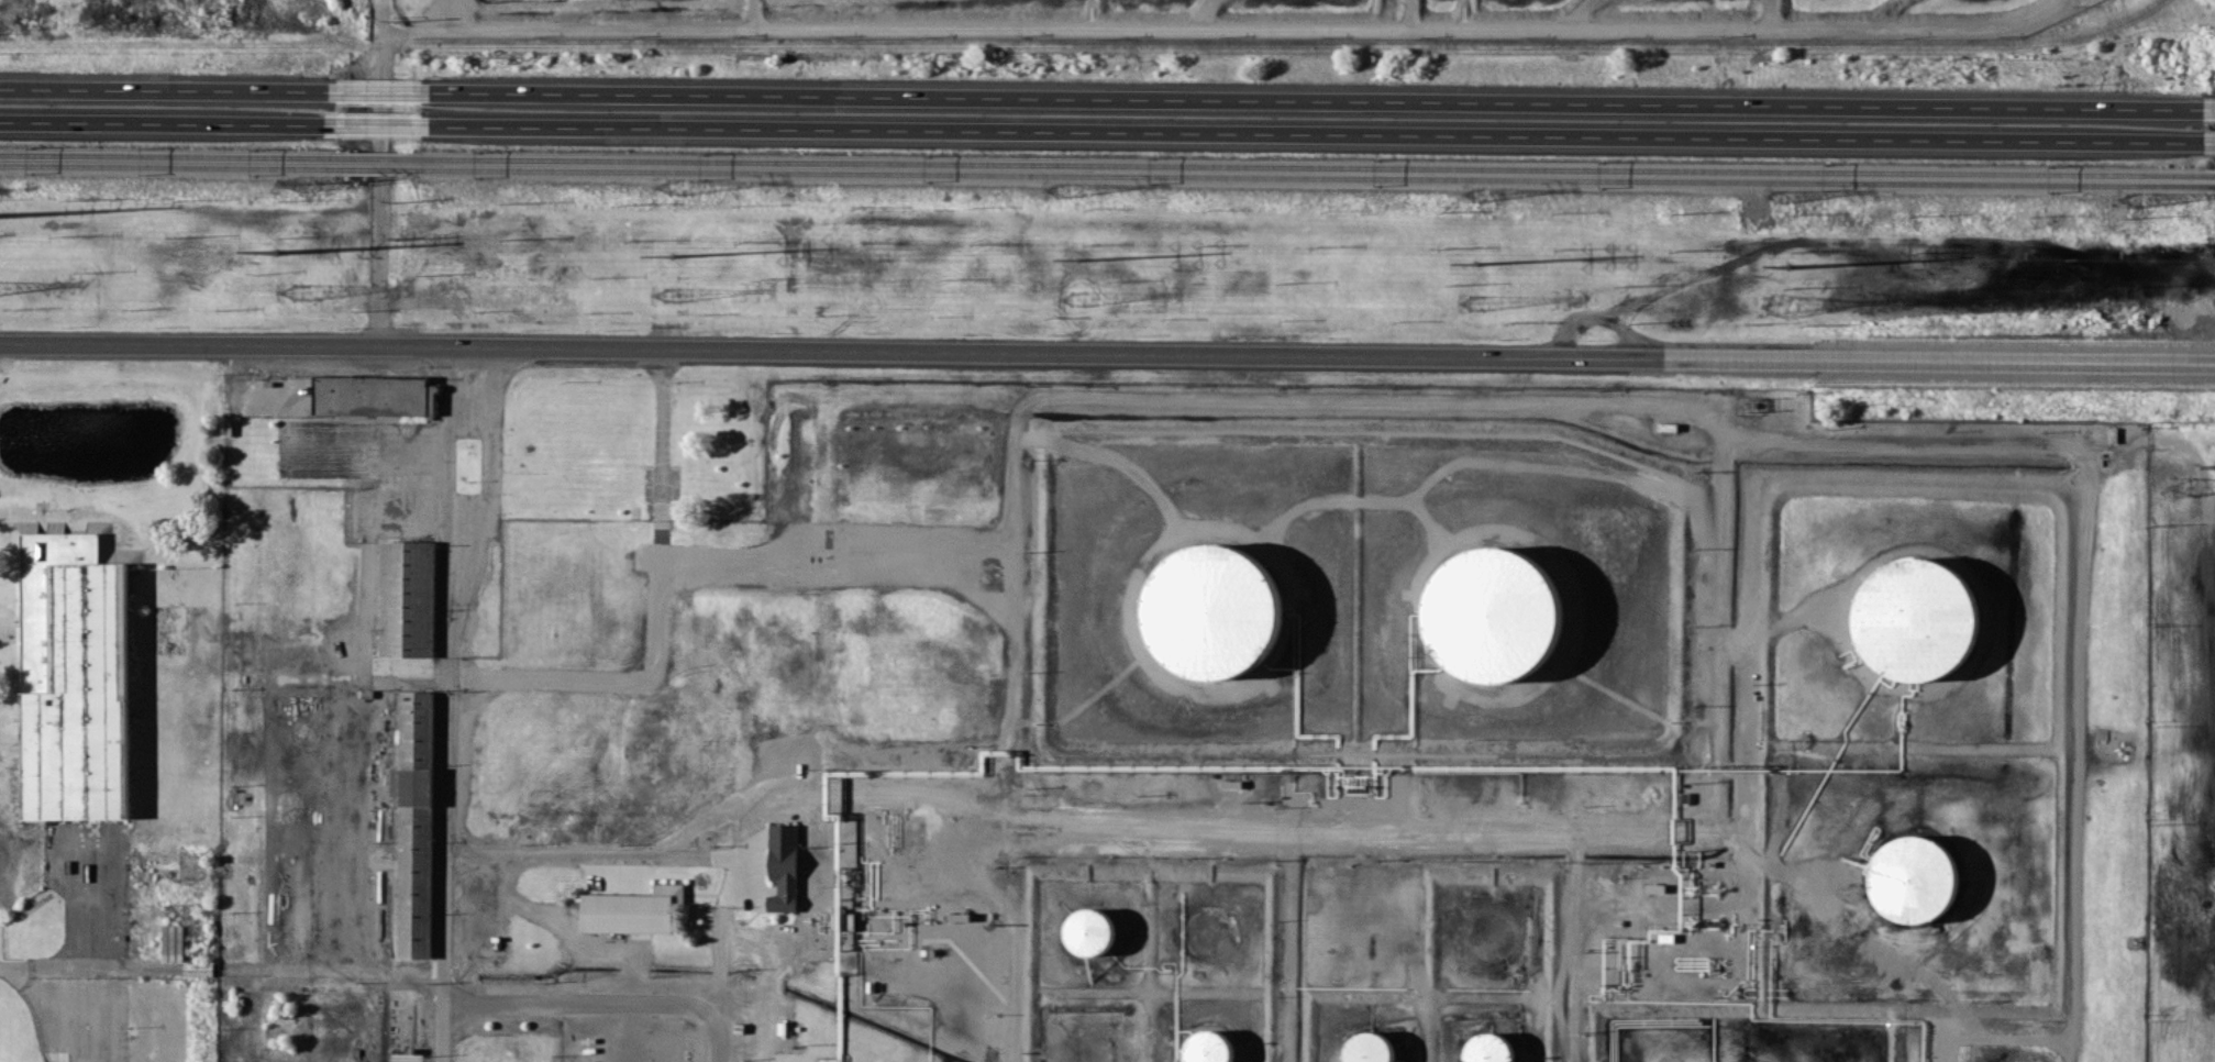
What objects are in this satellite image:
road: (1374, 10)
road: (1103, 11)
road: (756, 12)
road: (1476, 12)
road: (446, 13)
road: (1761, 14)
road: (1238, 22)
road: (1426, 22)
road: (741, 25)
road: (1619, 26)
road: (1908, 27)
road: (166, 88)
road: (378, 90)
road: (380, 93)
road: (1314, 99)
road: (2210, 107)
road: (166, 121)
road: (377, 123)
road: (1314, 132)
road: (2210, 141)
railway: (173, 157)
railway: (381, 159)
railway: (174, 167)
railway: (385, 169)
railway: (1311, 172)
railway: (1314, 182)
railway: (2210, 184)
railway: (2211, 193)
power tower: (671, 253)
power tower: (275, 254)
power tower: (1077, 257)
power tower: (1475, 261)
power tower: (1786, 264)
road: (378, 266)
power tower: (300, 294)
power tower: (672, 298)
power tower: (1079, 299)
power tower: (1478, 301)
power tower: (1780, 305)
road: (1107, 352)
building: (368, 388)
road: (1701, 419)
building: (466, 466)
power tower: (2182, 483)
road: (843, 562)
road: (985, 594)
building: (405, 596)
building: (1210, 611)
building: (1489, 613)
road: (656, 619)
building: (1911, 619)
road: (1784, 622)
building: (14, 677)
building: (74, 678)
road: (950, 807)
road: (1433, 821)
building: (410, 825)
road: (804, 826)
road: (1779, 862)
building: (782, 865)
building: (1909, 876)
road: (443, 878)
building: (630, 908)
building: (1086, 929)
building: (1207, 929)
road: (720, 932)
road: (1287, 941)
road: (1574, 942)
road: (557, 996)
road: (443, 1016)
road: (644, 1025)
building: (1205, 1046)
building: (1366, 1046)
building: (1485, 1047)

